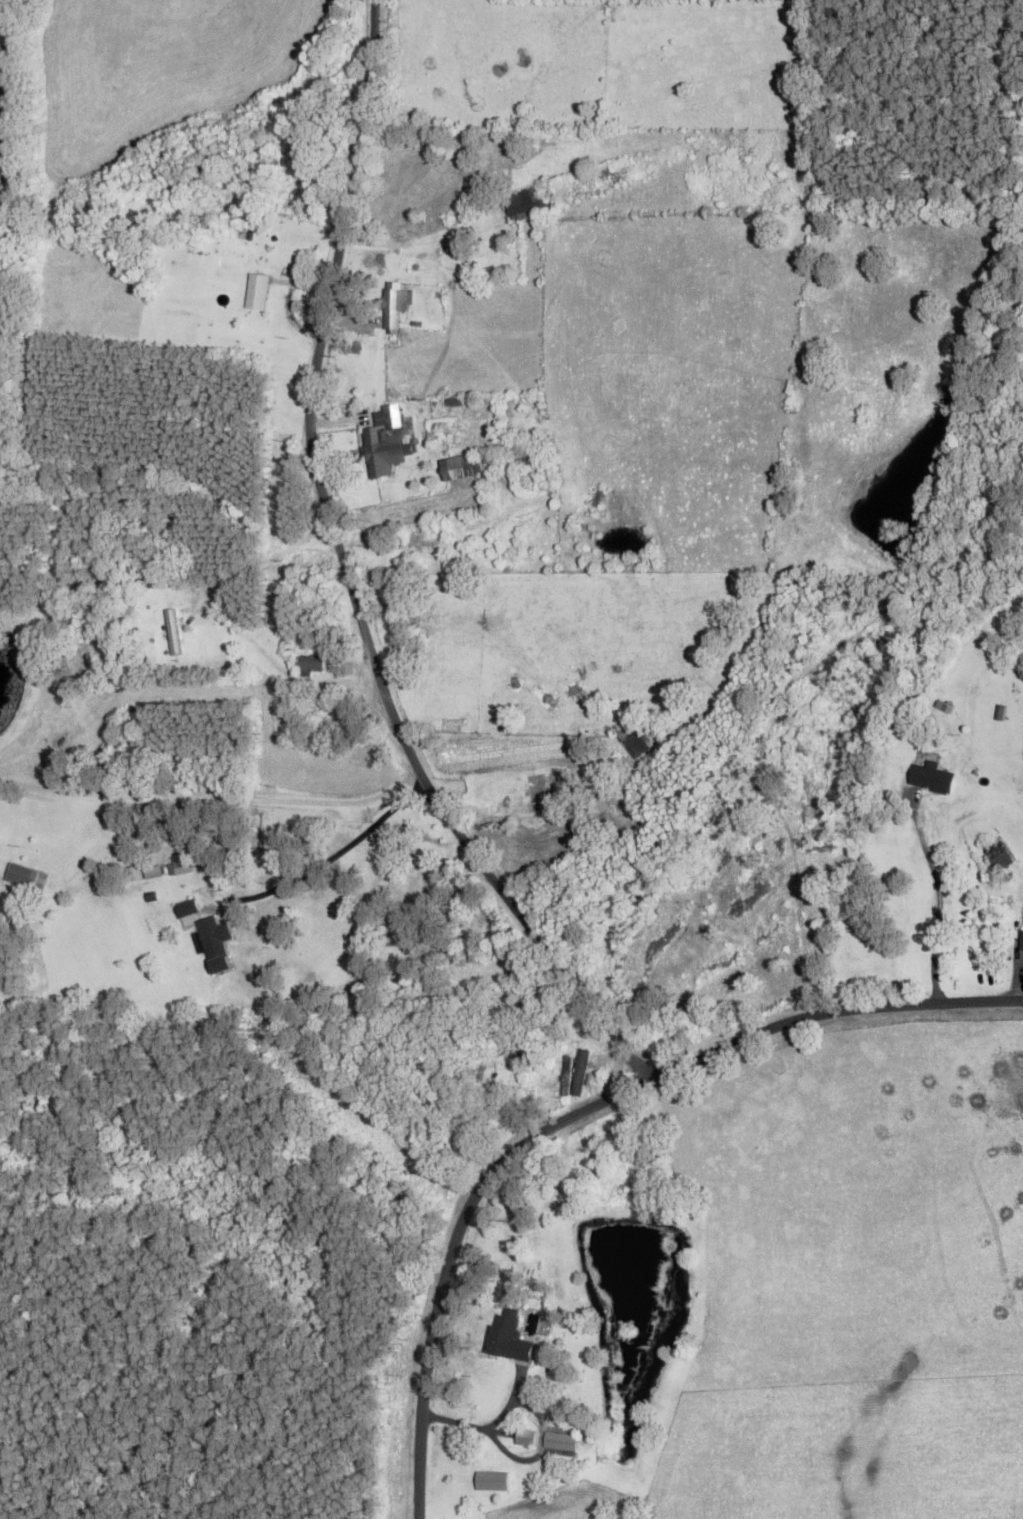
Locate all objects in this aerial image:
building: (569, 193)
building: (256, 293)
building: (394, 307)
building: (383, 445)
building: (522, 457)
building: (463, 471)
road: (348, 581)
building: (307, 665)
building: (931, 778)
road: (211, 799)
road: (339, 851)
building: (998, 857)
building: (179, 864)
building: (133, 874)
building: (22, 877)
building: (185, 909)
road: (943, 928)
building: (1020, 941)
building: (213, 944)
road: (831, 1013)
building: (566, 1077)
road: (453, 1249)
building: (506, 1338)
building: (524, 1438)

